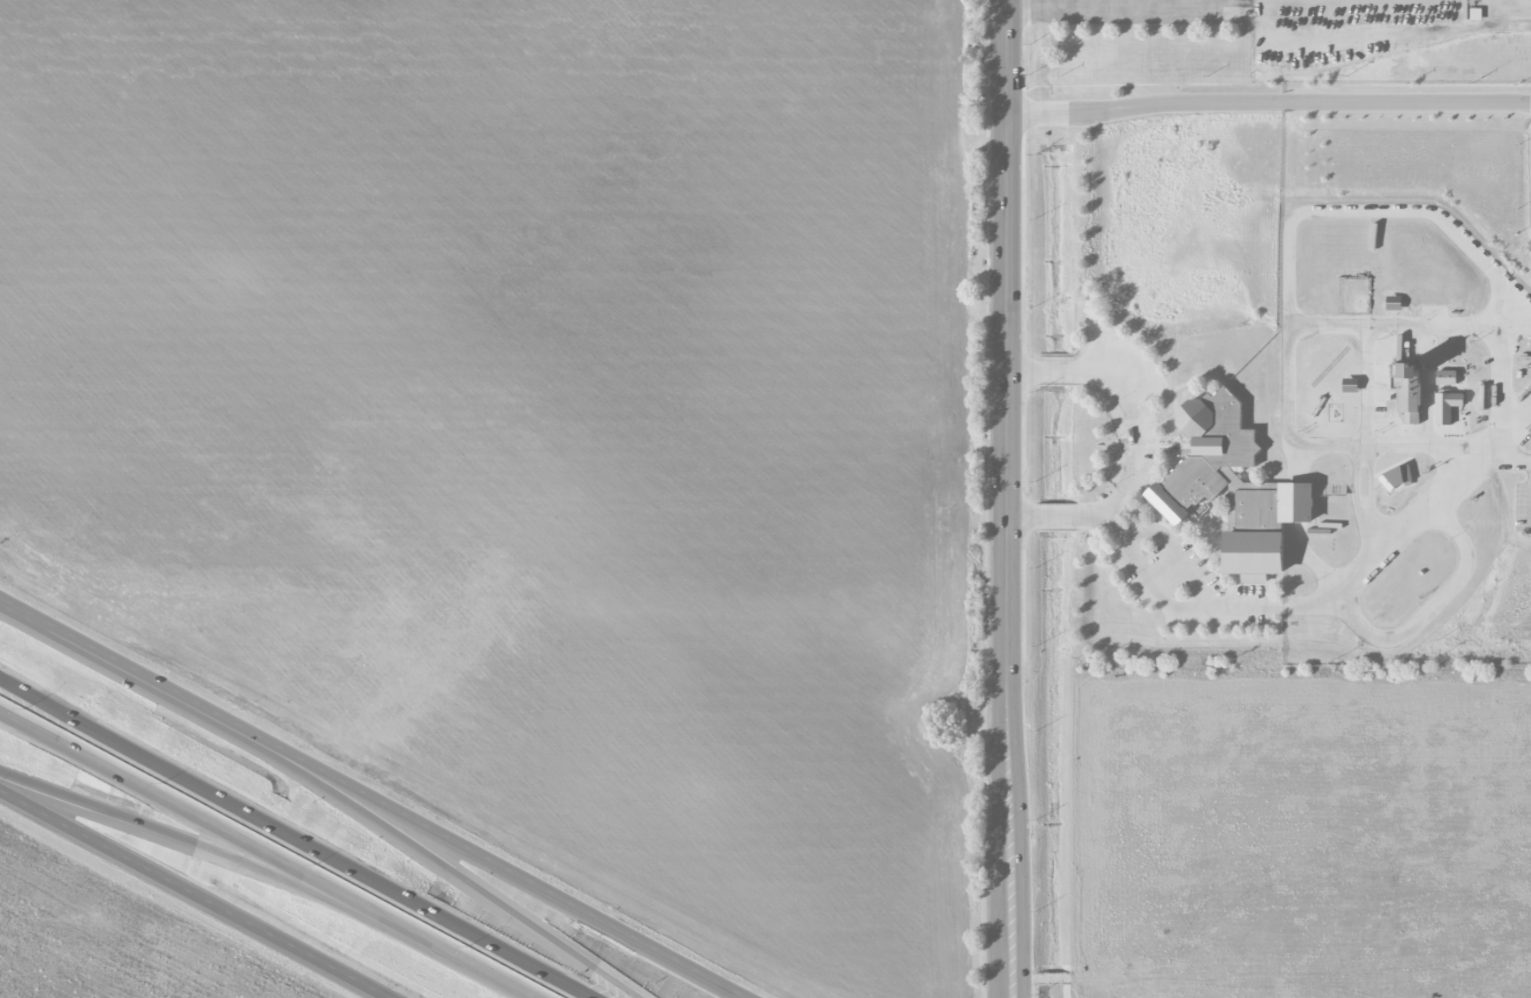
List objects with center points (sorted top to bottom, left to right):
road: (1079, 1)
road: (1117, 1)
road: (1299, 1)
road: (1099, 2)
road: (1523, 4)
road: (1268, 102)
building: (1393, 303)
road: (1288, 307)
road: (1409, 324)
railway: (1329, 366)
road: (1054, 370)
road: (1021, 371)
building: (1445, 378)
building: (1349, 386)
building: (1408, 392)
road: (1502, 392)
building: (1446, 407)
road: (1517, 414)
road: (1133, 427)
road: (1415, 446)
building: (1396, 479)
building: (1232, 488)
road: (1007, 499)
road: (1016, 515)
road: (1051, 516)
road: (1175, 548)
road: (1465, 560)
road: (1159, 598)
road: (1307, 602)
road: (370, 799)
road: (374, 822)
road: (296, 837)
road: (266, 854)
road: (225, 856)
road: (193, 893)

